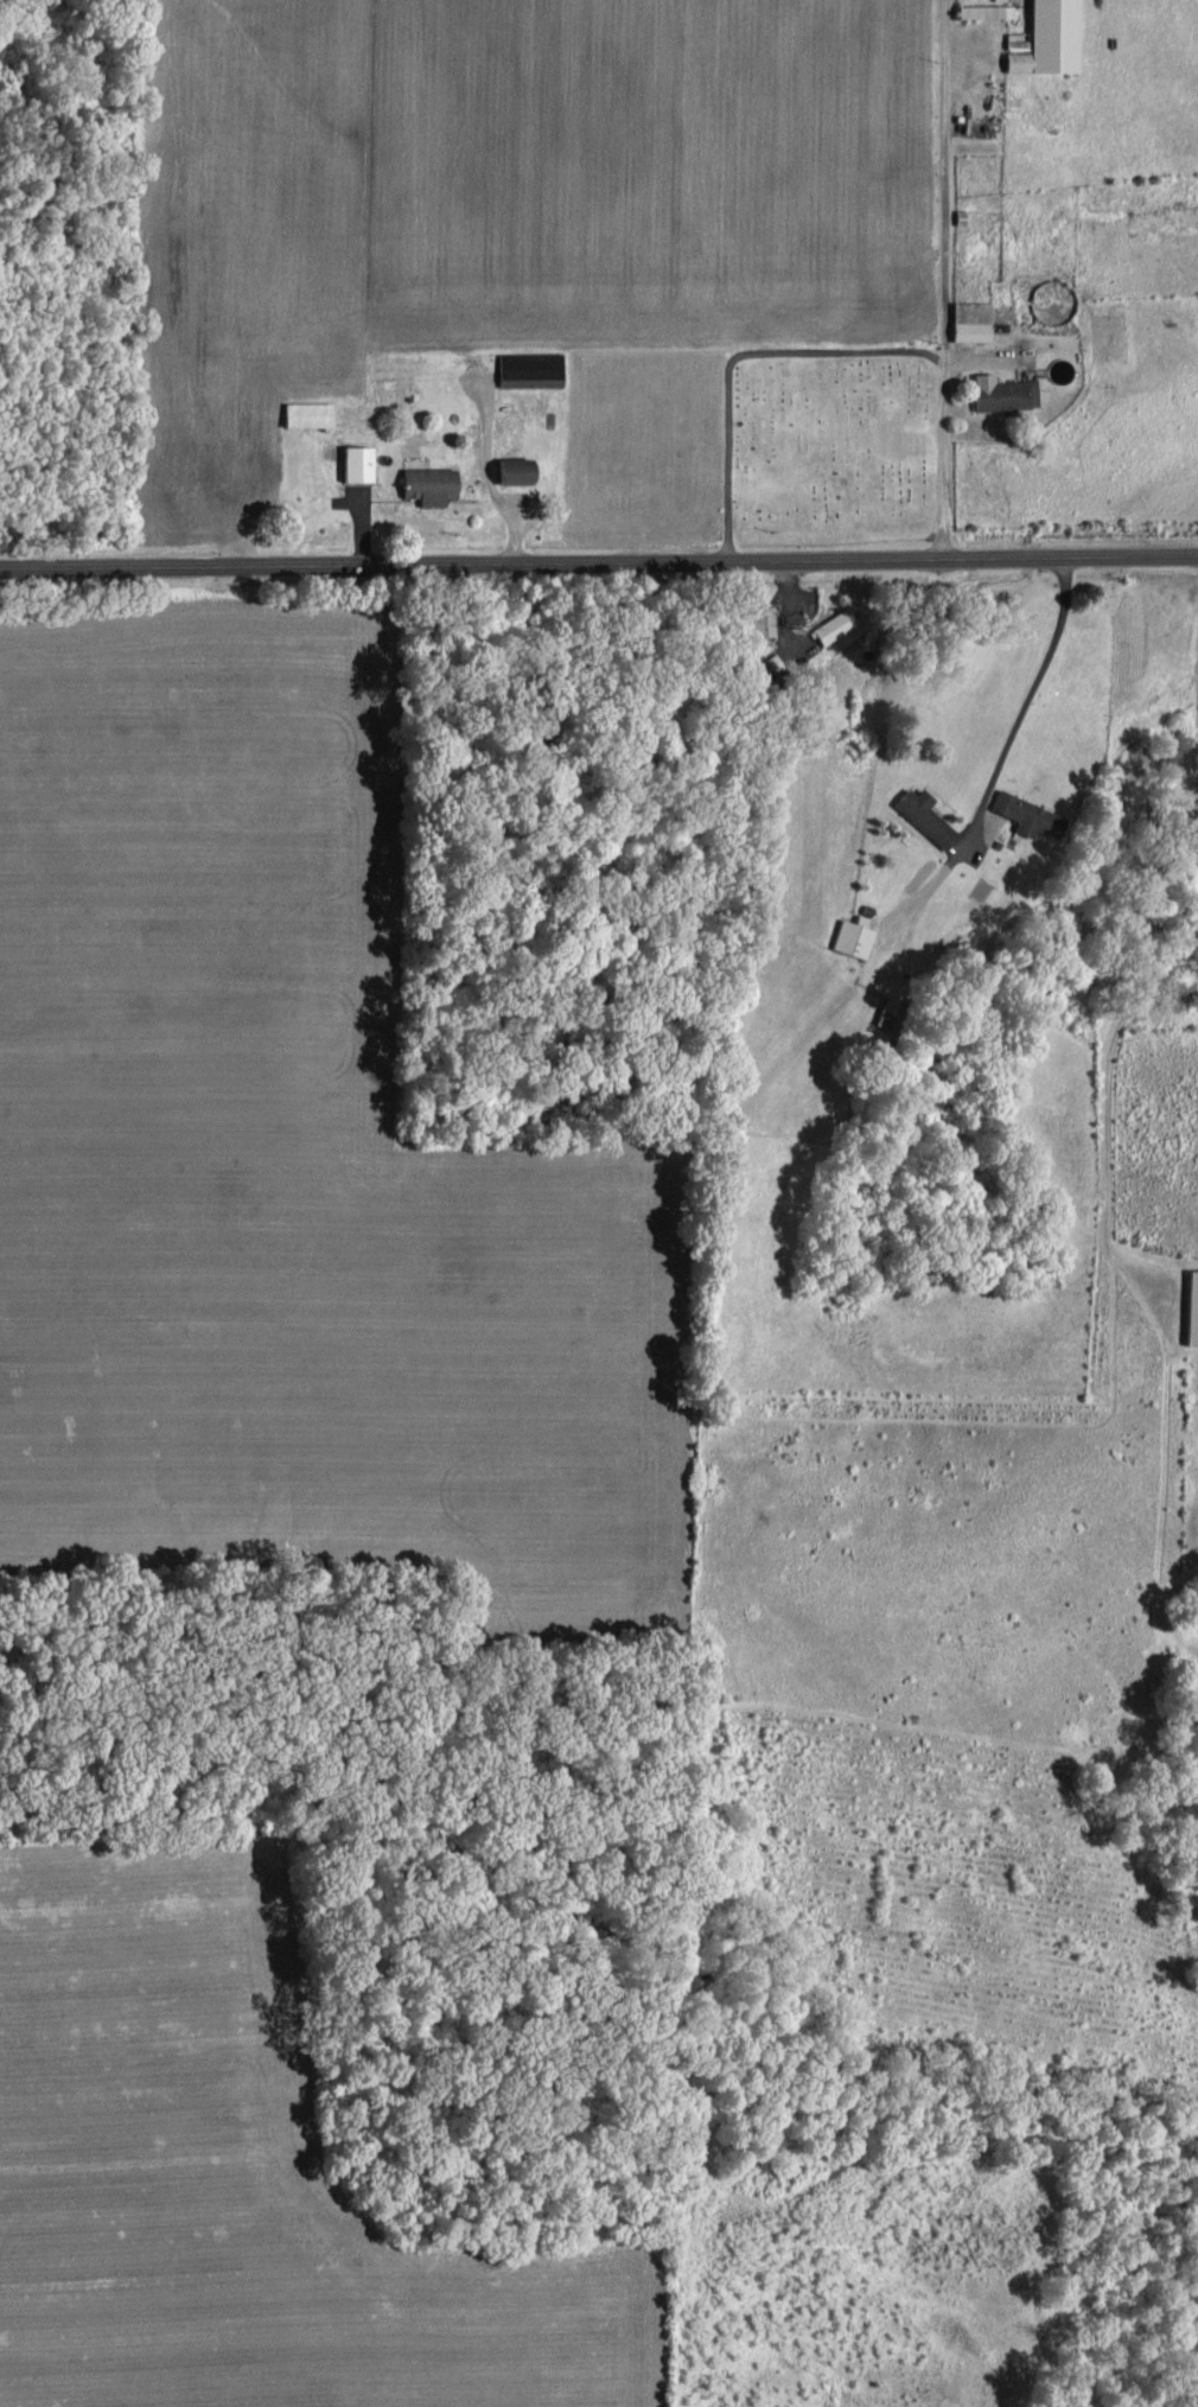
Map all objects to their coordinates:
building: (981, 8)
building: (1041, 38)
building: (966, 319)
building: (525, 368)
building: (1000, 393)
building: (305, 412)
park: (831, 444)
building: (353, 460)
building: (510, 467)
building: (423, 482)
road: (599, 561)
building: (756, 619)
building: (831, 624)
road: (1022, 700)
building: (1022, 813)
building: (922, 815)
building: (849, 935)
building: (1189, 1306)

